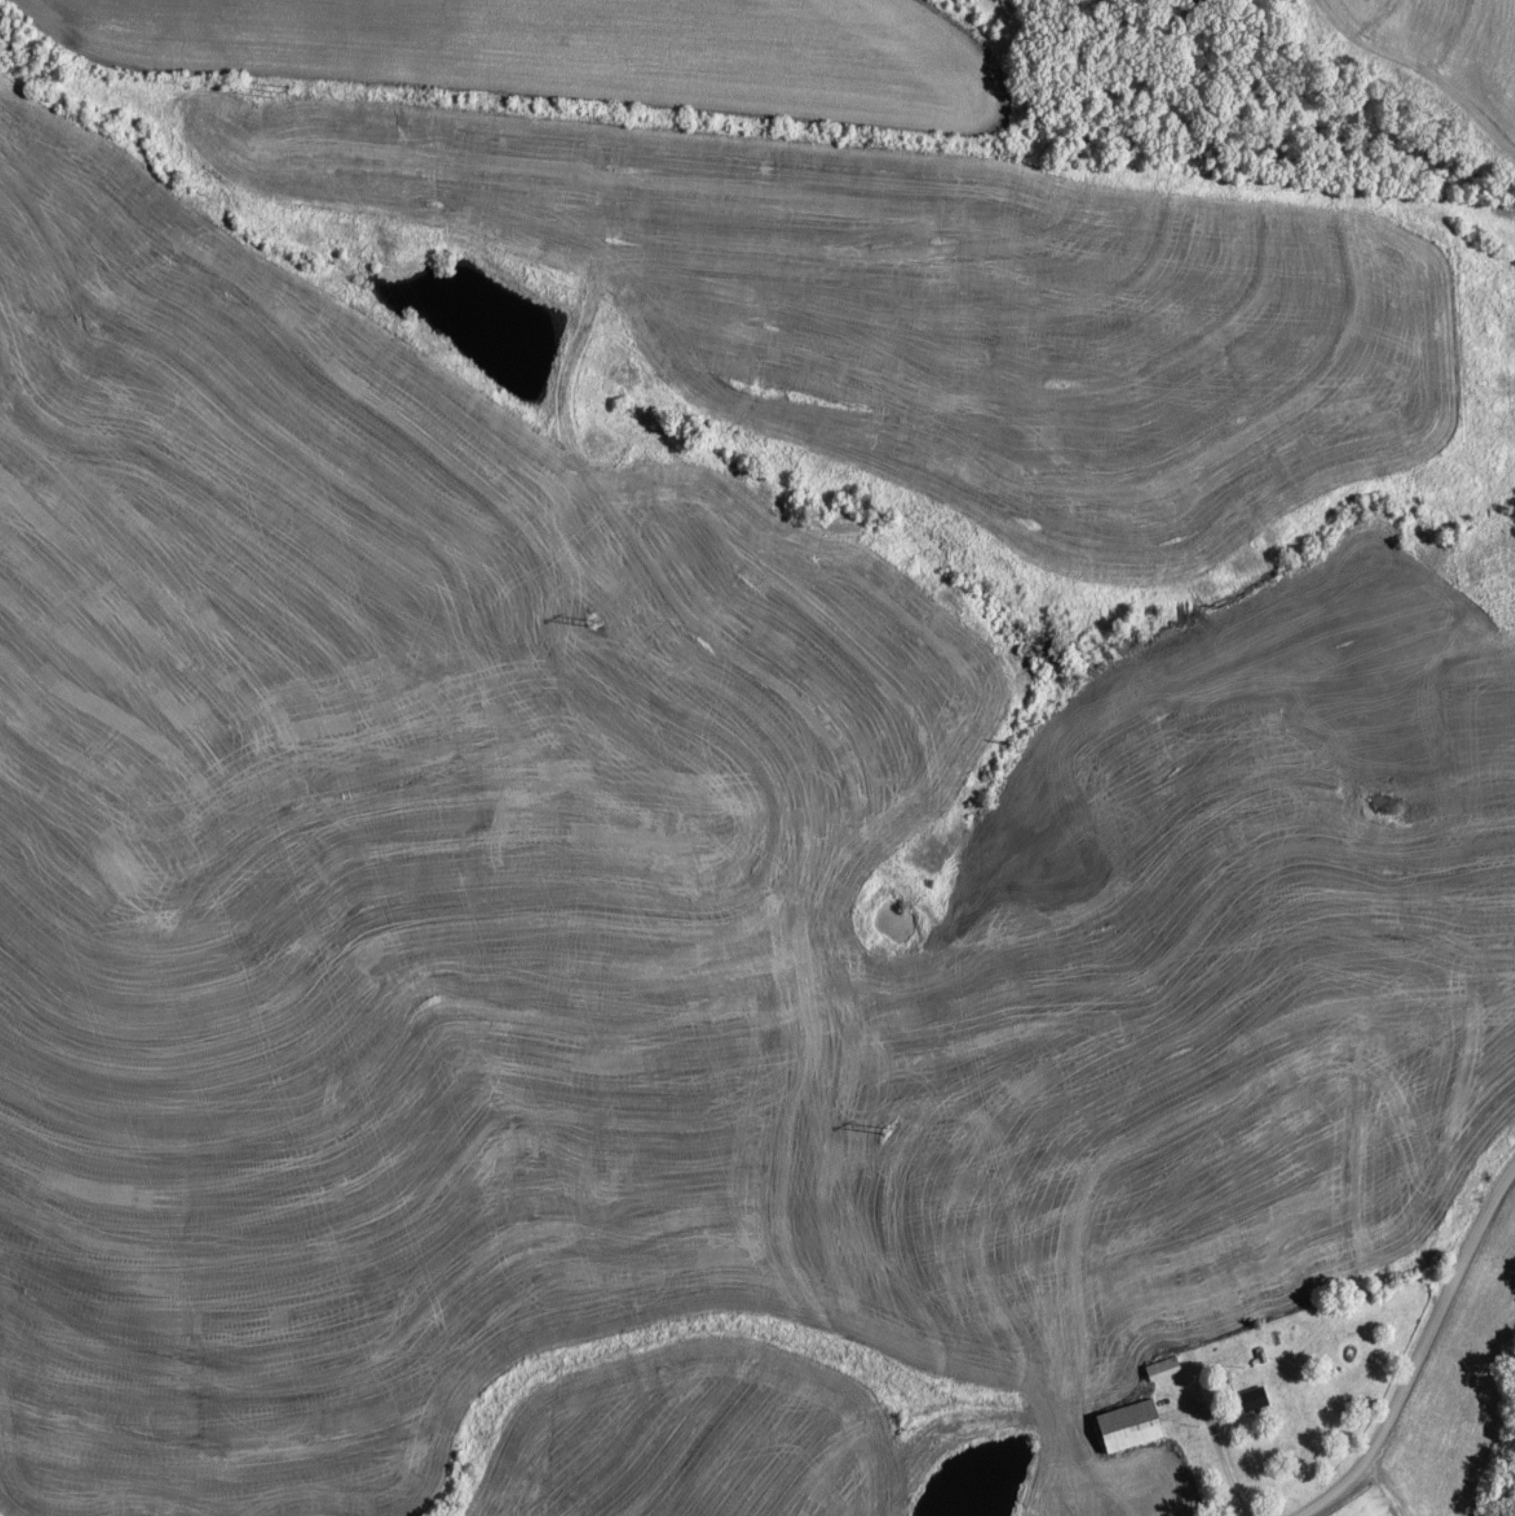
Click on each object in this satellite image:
road: (1418, 1349)
building: (1158, 1369)
building: (1248, 1401)
building: (1123, 1427)
building: (1178, 1429)
road: (1214, 1443)

